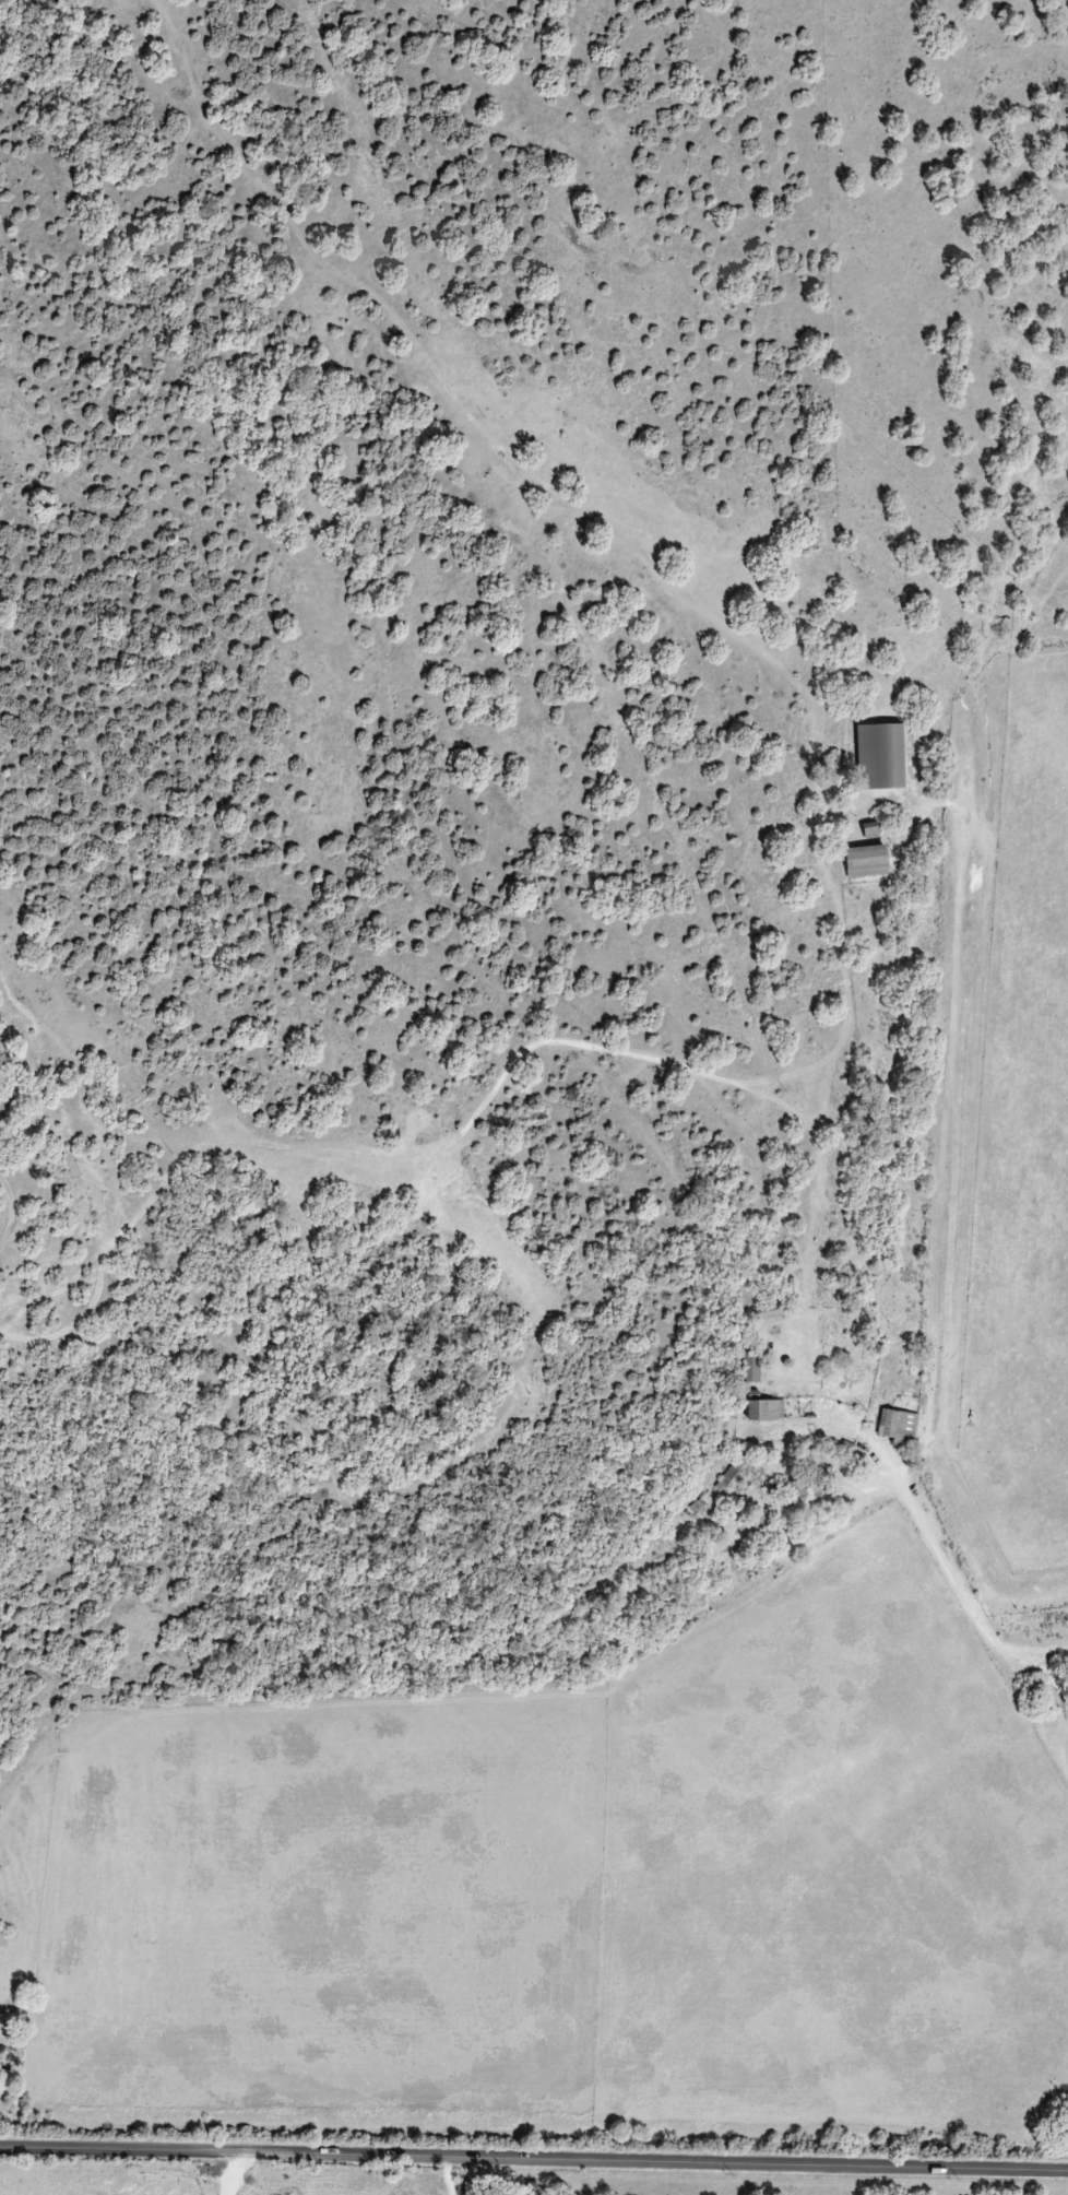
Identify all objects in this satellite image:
building: (880, 757)
building: (865, 862)
building: (750, 1369)
building: (764, 1411)
building: (897, 1427)
building: (727, 1476)
road: (980, 1626)
road: (533, 2162)

